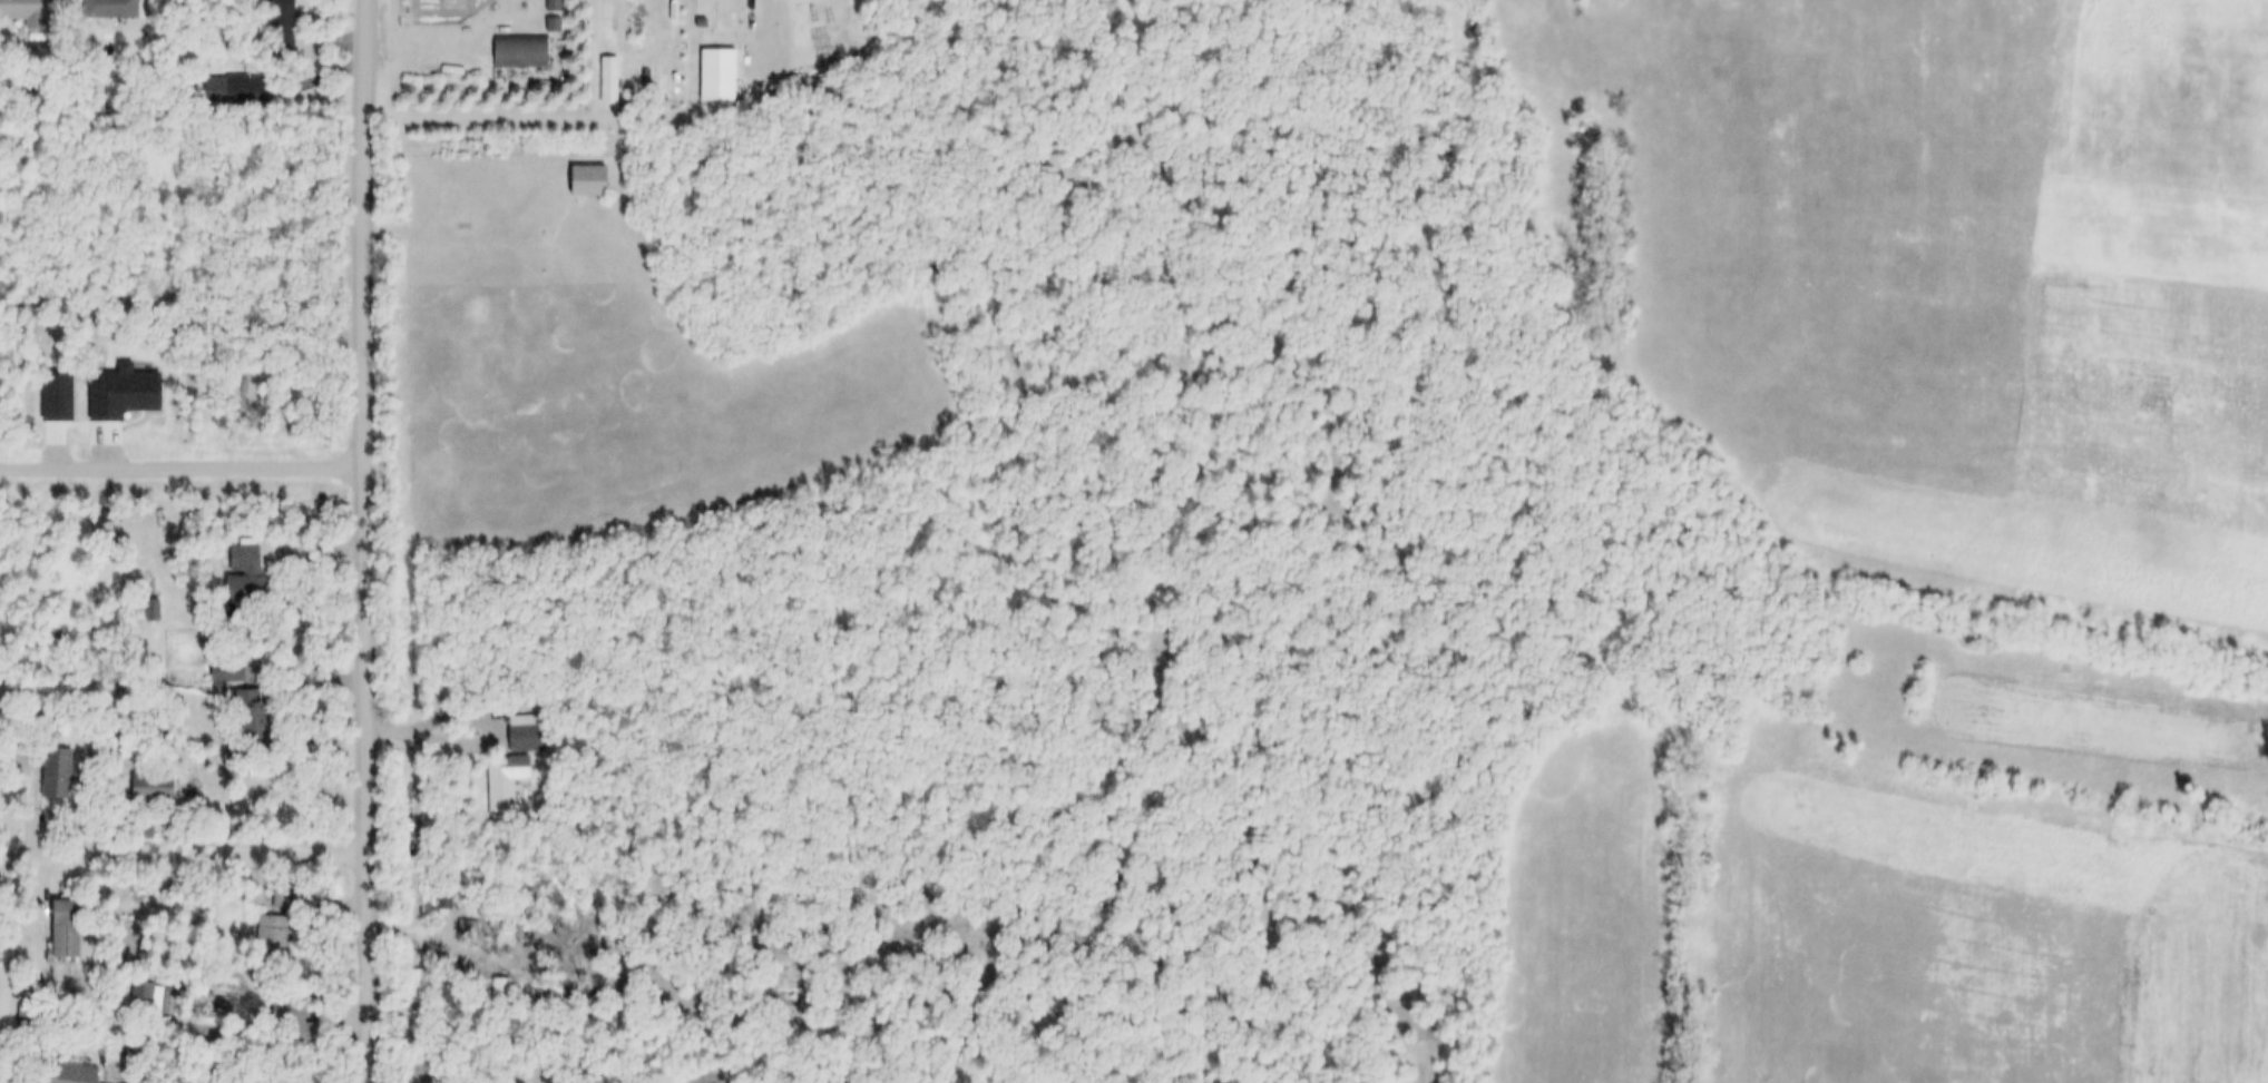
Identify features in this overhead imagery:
building: (554, 7)
building: (110, 9)
building: (22, 10)
building: (281, 26)
building: (520, 52)
building: (717, 77)
building: (234, 90)
building: (587, 183)
road: (472, 235)
road: (369, 541)
building: (244, 560)
building: (244, 590)
building: (150, 611)
building: (561, 695)
building: (248, 713)
building: (43, 730)
building: (525, 738)
building: (56, 774)
building: (505, 782)
building: (151, 788)
road: (185, 856)
building: (284, 897)
building: (178, 908)
building: (65, 929)
building: (274, 935)
building: (416, 979)
building: (153, 998)
building: (286, 1013)
building: (28, 1020)
building: (68, 1074)

